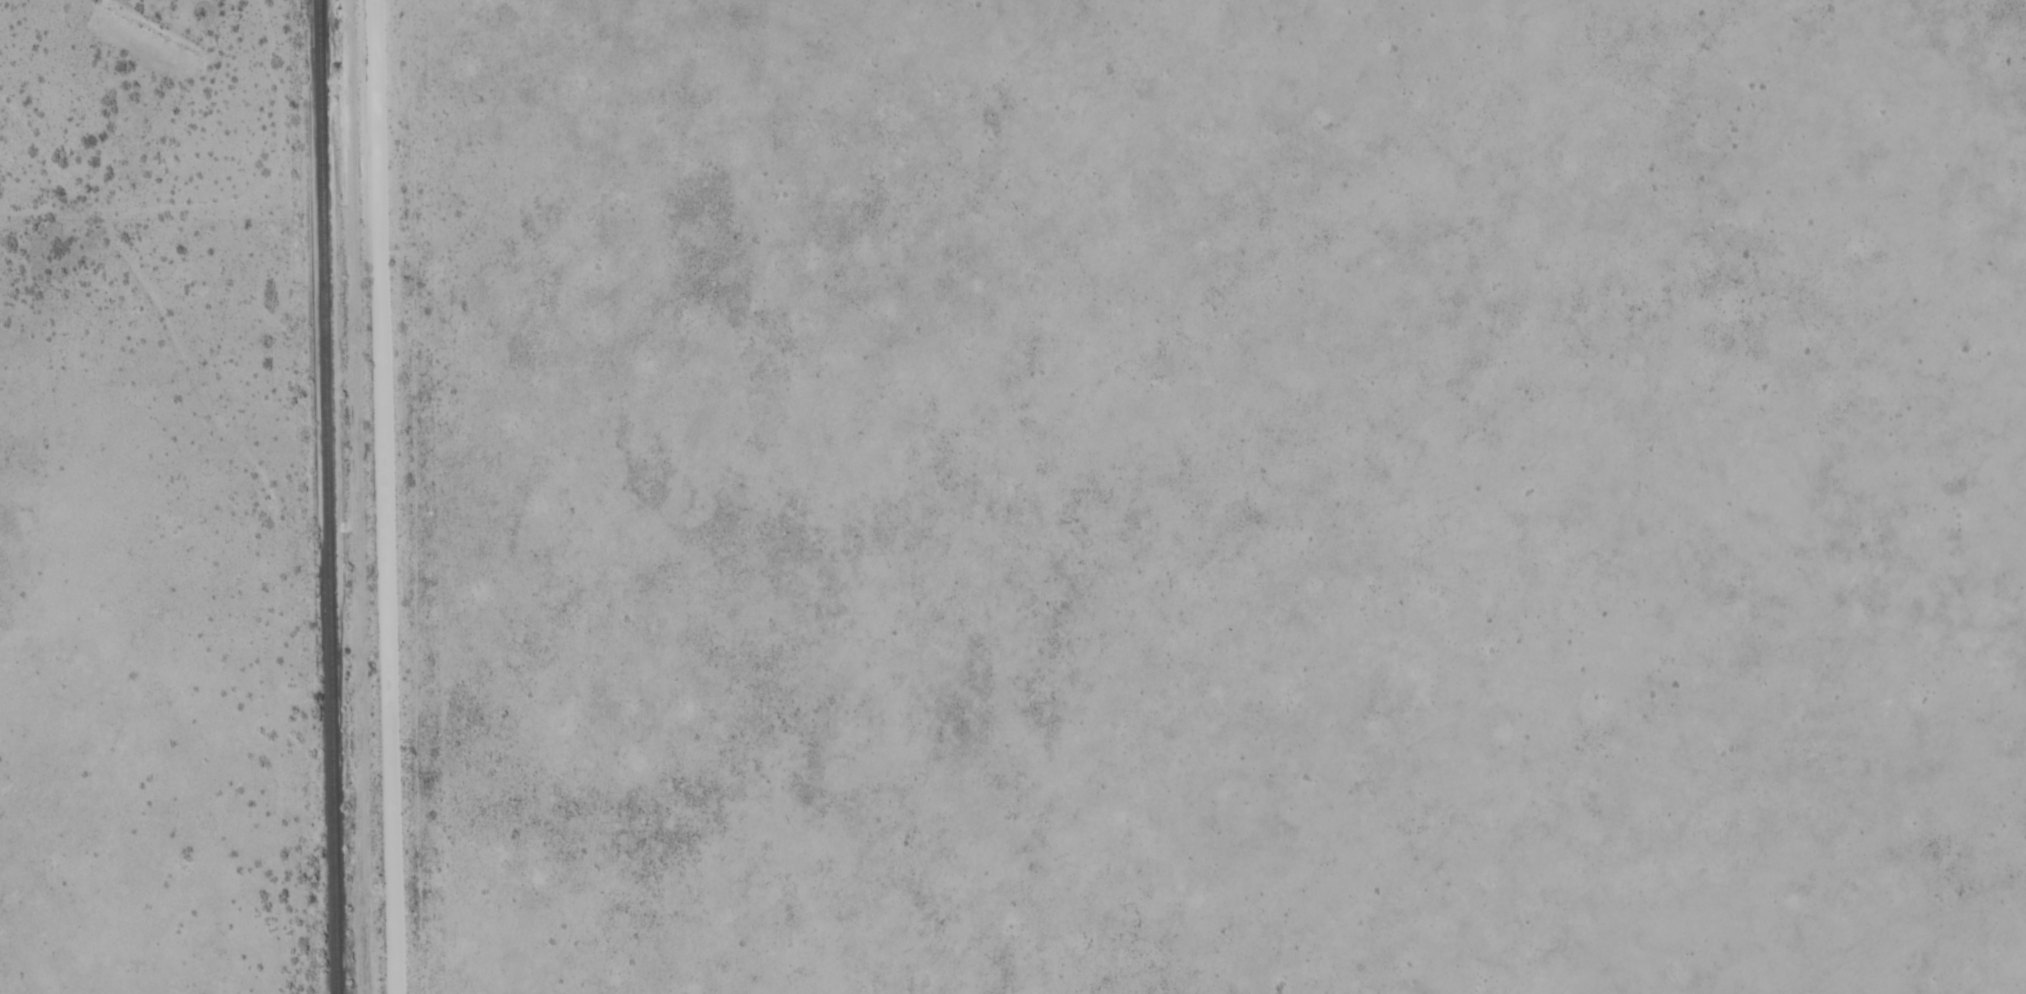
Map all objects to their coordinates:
railway: (326, 497)
road: (384, 497)
road: (194, 585)

